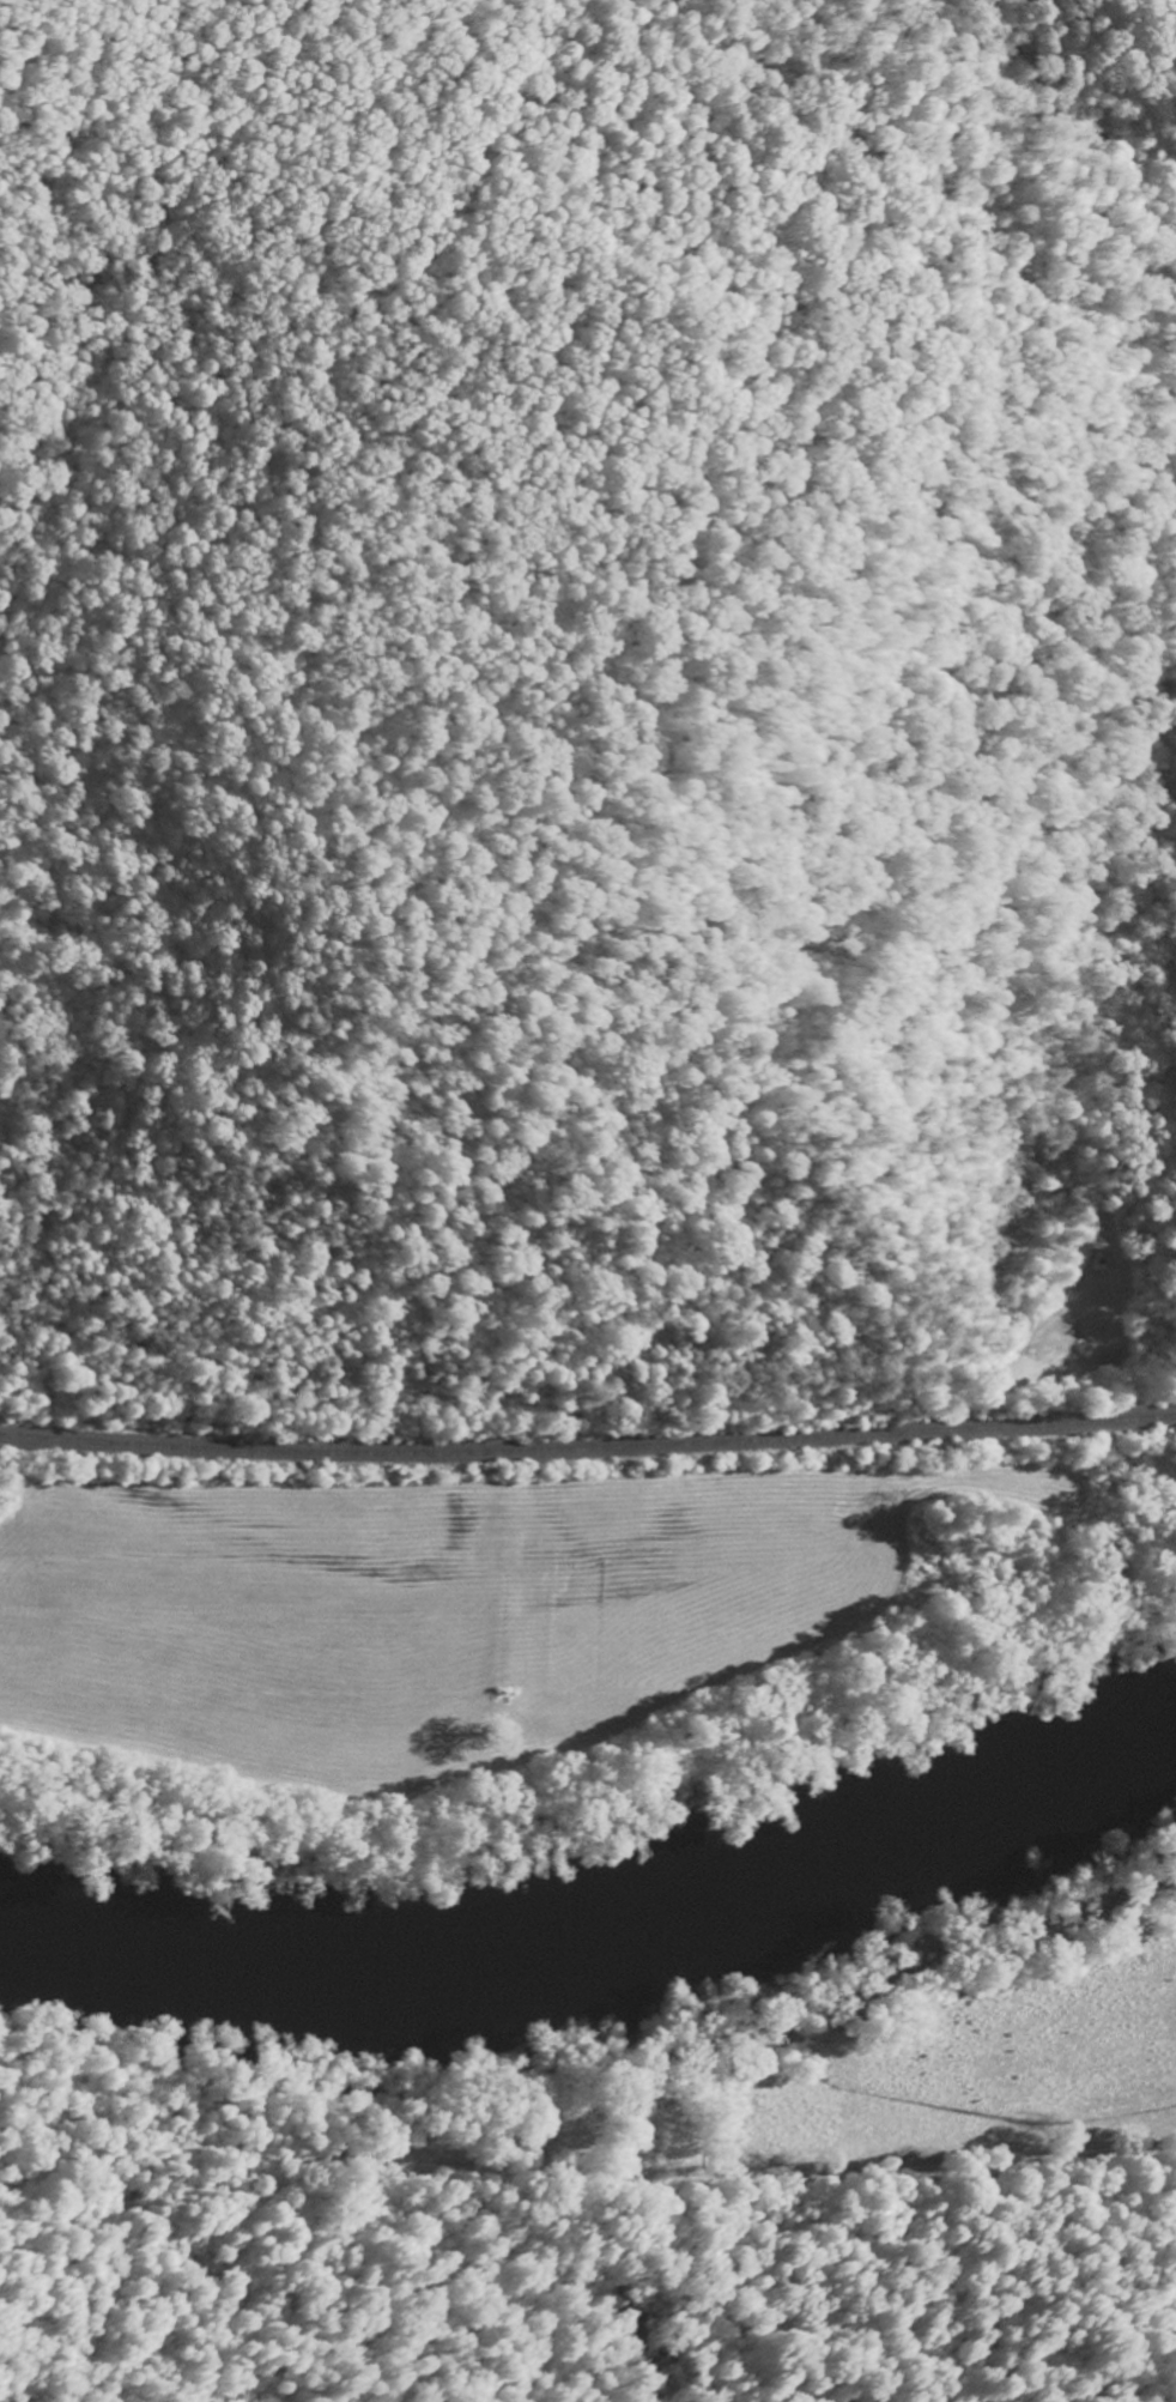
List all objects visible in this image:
railway: (589, 1446)
river: (600, 1922)
road: (584, 2194)

